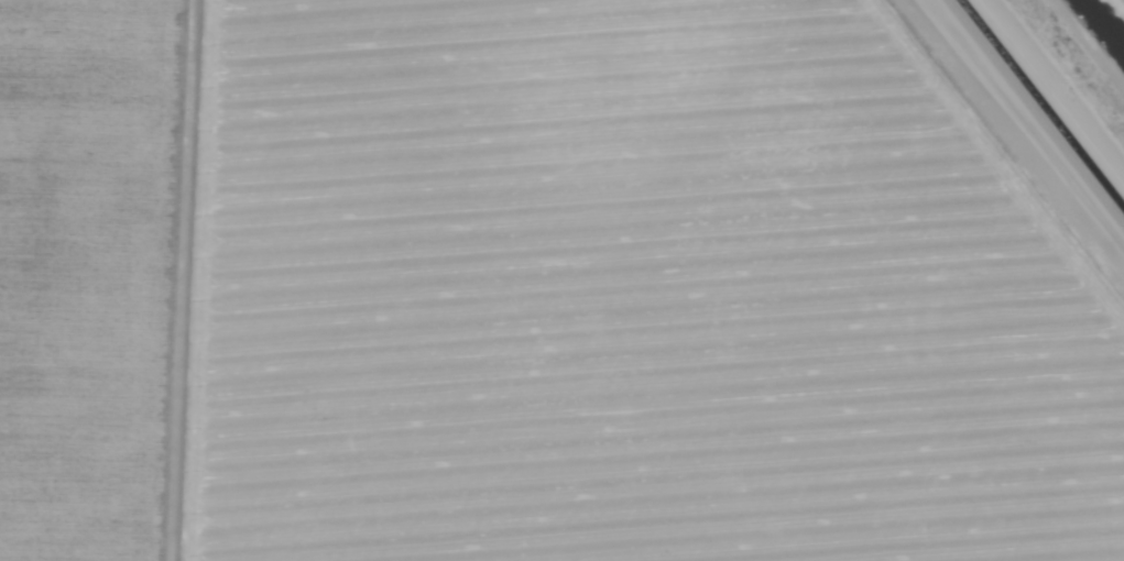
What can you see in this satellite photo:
road: (1052, 90)
crop: (561, 280)

